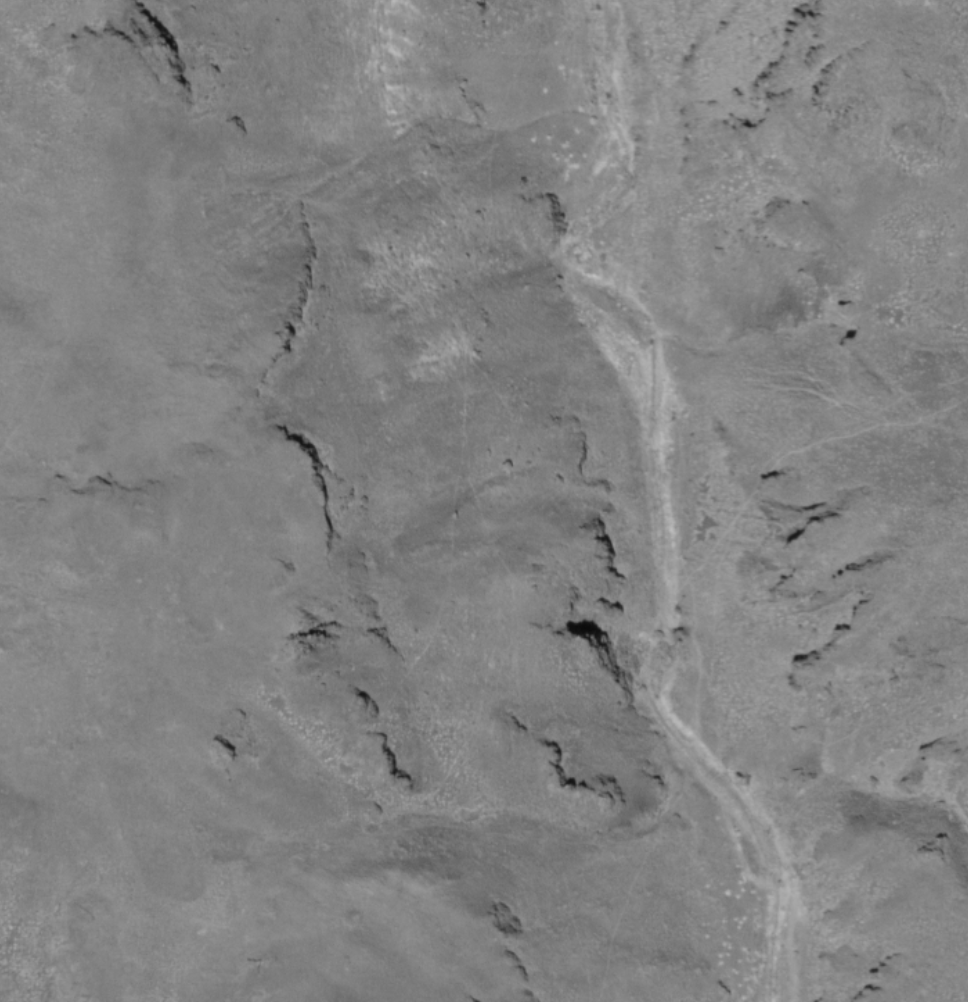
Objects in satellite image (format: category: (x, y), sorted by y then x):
road: (752, 878)

